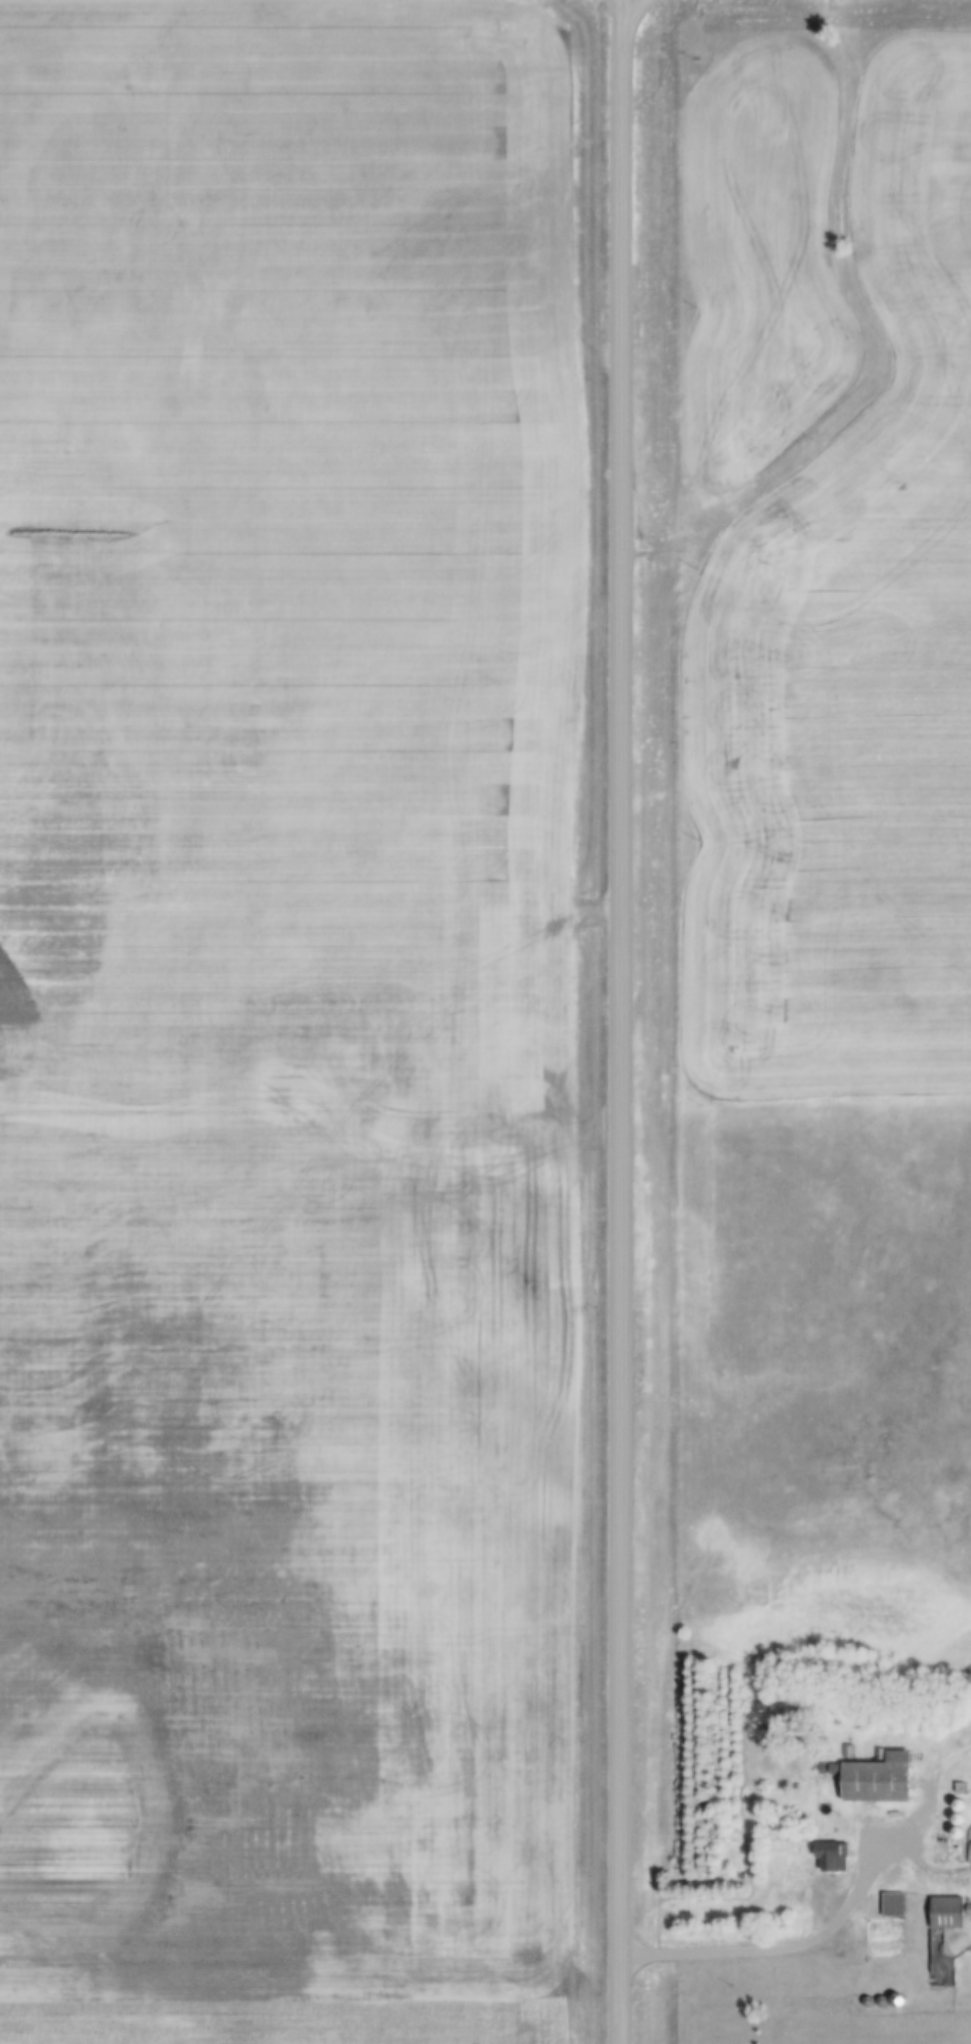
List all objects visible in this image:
road: (621, 1022)
building: (875, 1780)
building: (828, 1859)
building: (891, 1905)
building: (946, 1913)
road: (829, 1928)

